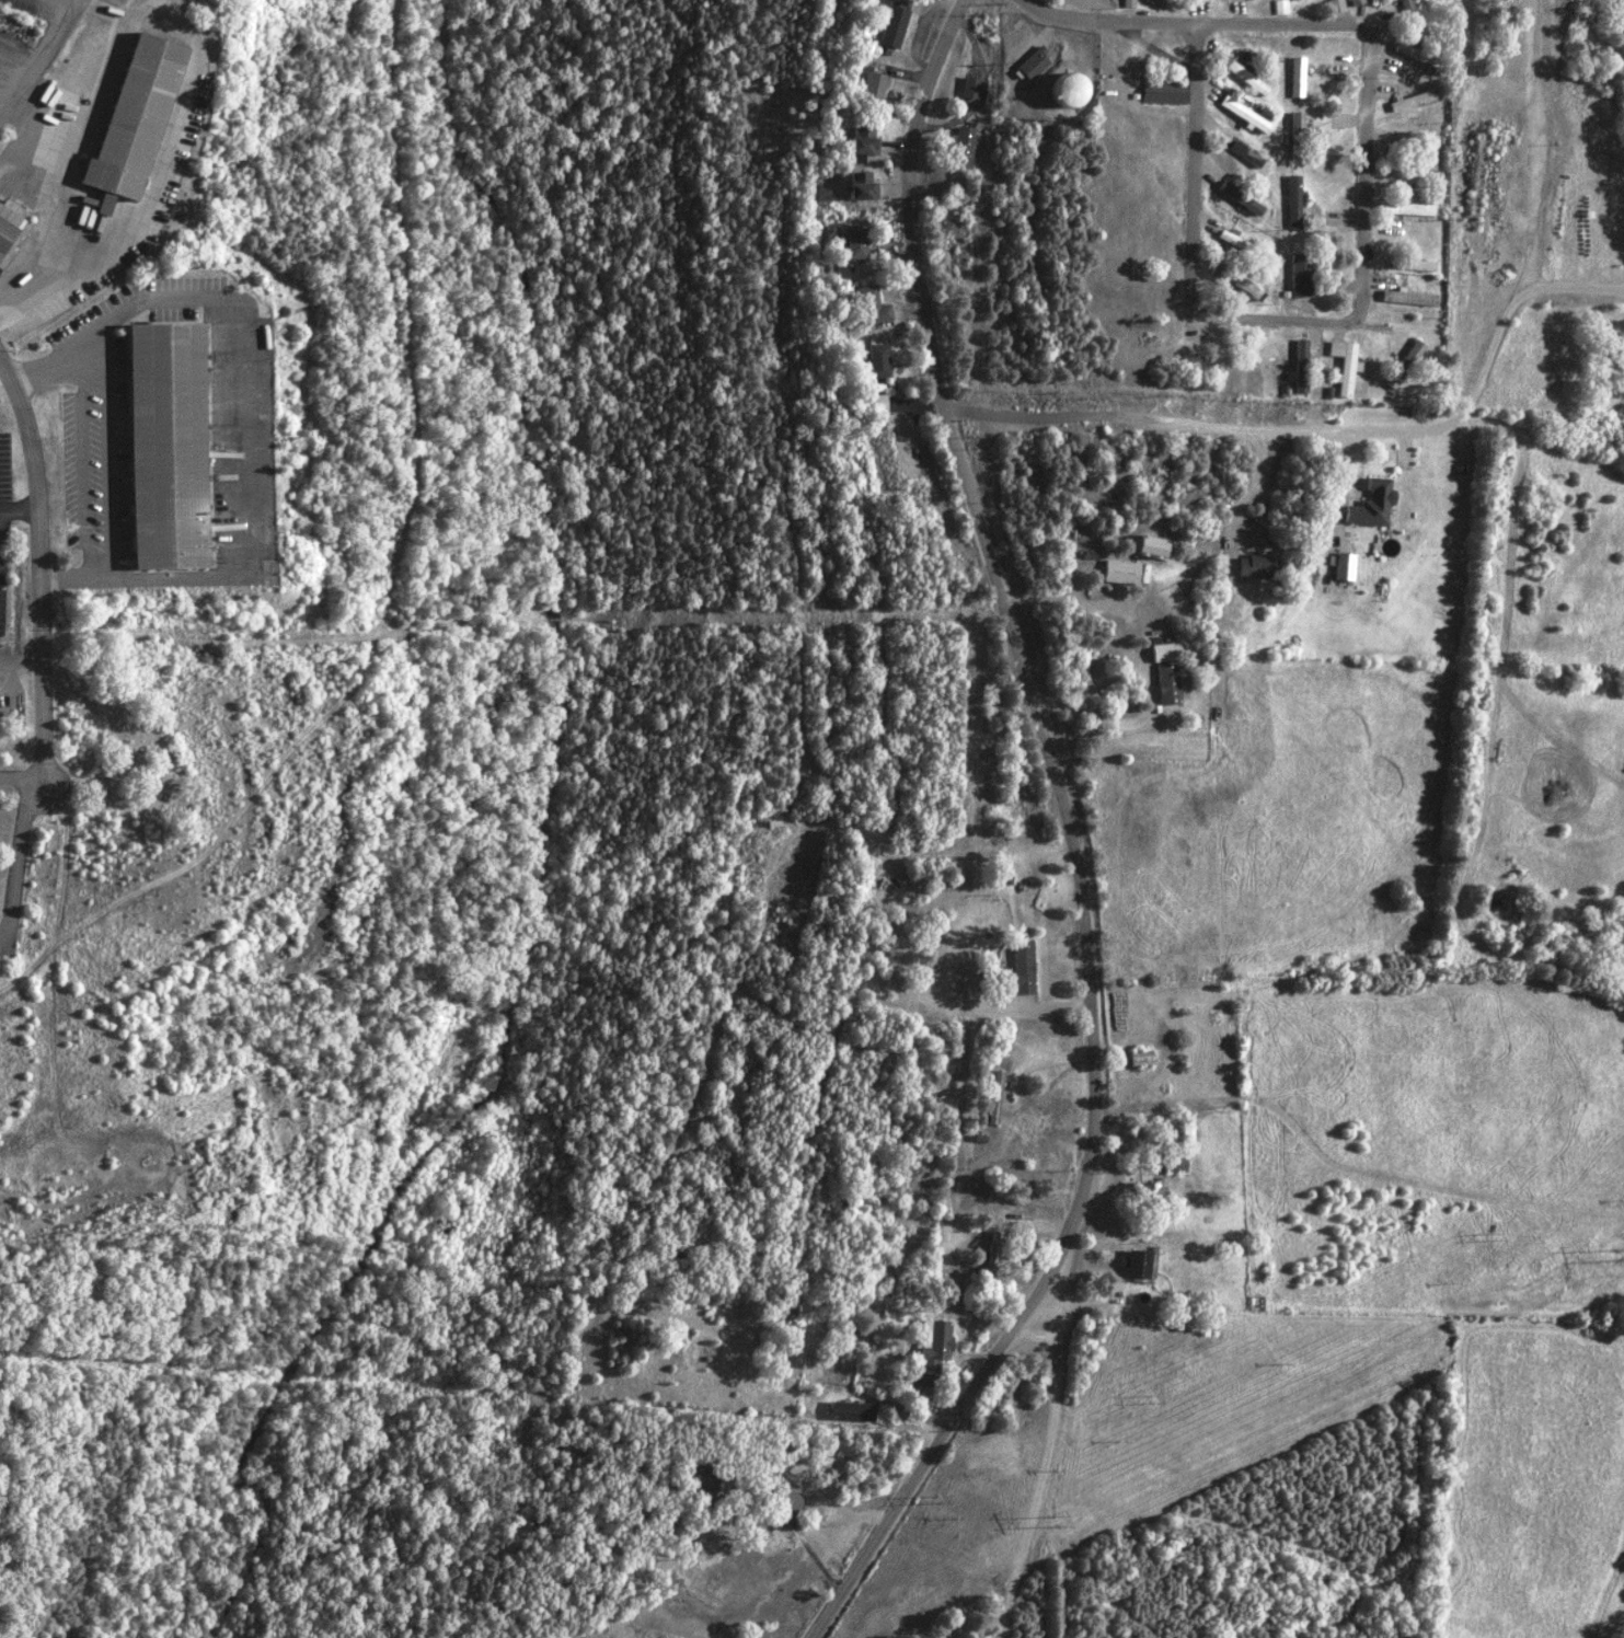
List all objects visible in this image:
building: (1252, 0)
building: (1293, 0)
building: (1355, 2)
building: (1335, 5)
building: (1279, 7)
building: (1405, 8)
road: (1109, 22)
building: (895, 23)
building: (1412, 50)
road: (37, 56)
building: (1033, 66)
building: (1298, 78)
building: (872, 89)
building: (1068, 91)
building: (1163, 92)
building: (1245, 116)
building: (131, 123)
building: (1297, 129)
building: (862, 141)
building: (960, 147)
building: (1246, 154)
building: (861, 187)
building: (1240, 198)
building: (1294, 203)
building: (1406, 209)
building: (7, 228)
building: (855, 244)
building: (1420, 265)
building: (1301, 276)
building: (1241, 284)
road: (1368, 284)
building: (1408, 298)
building: (872, 305)
building: (878, 359)
building: (1404, 365)
building: (1344, 366)
building: (873, 402)
road: (1323, 419)
building: (164, 445)
building: (1371, 504)
road: (20, 510)
building: (1151, 545)
building: (1255, 566)
building: (1344, 566)
road: (39, 568)
building: (1120, 572)
building: (1165, 651)
road: (21, 662)
building: (1168, 683)
road: (1118, 723)
road: (22, 774)
road: (1072, 842)
road: (18, 862)
building: (1018, 970)
building: (997, 1088)
building: (1173, 1163)
building: (1149, 1195)
power tower: (1497, 1239)
power tower: (1617, 1251)
building: (993, 1254)
building: (1137, 1265)
building: (933, 1350)
power tower: (1155, 1401)
building: (854, 1414)
power tower: (942, 1500)
power tower: (1058, 1521)

